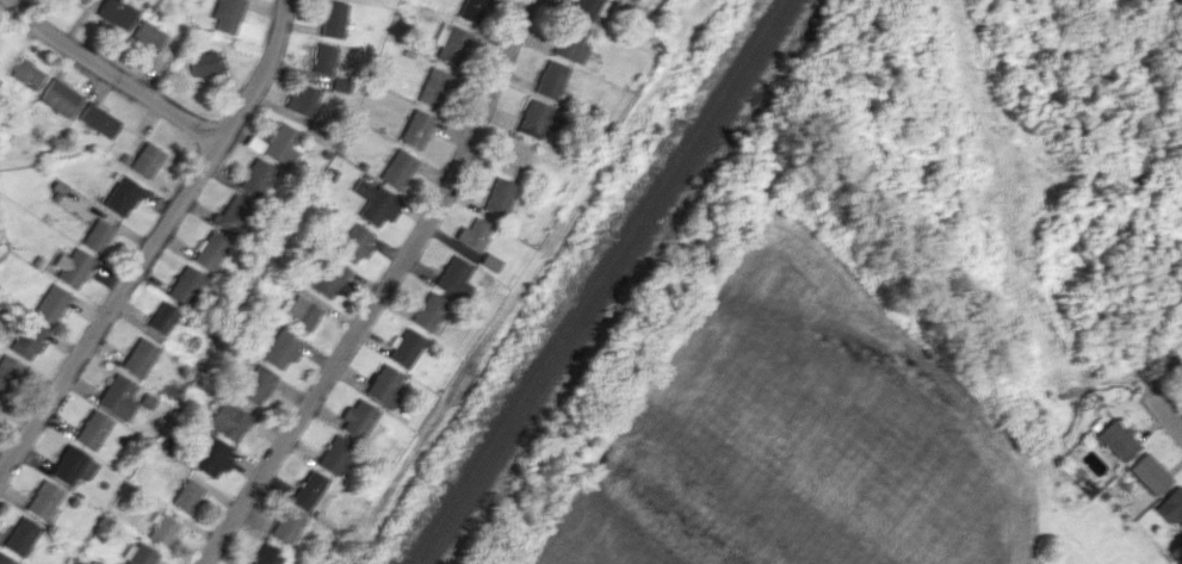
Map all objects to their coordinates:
road: (115, 72)
road: (153, 243)
railway: (596, 281)
railway: (608, 281)
road: (382, 289)
road: (1166, 403)
park: (1083, 528)

